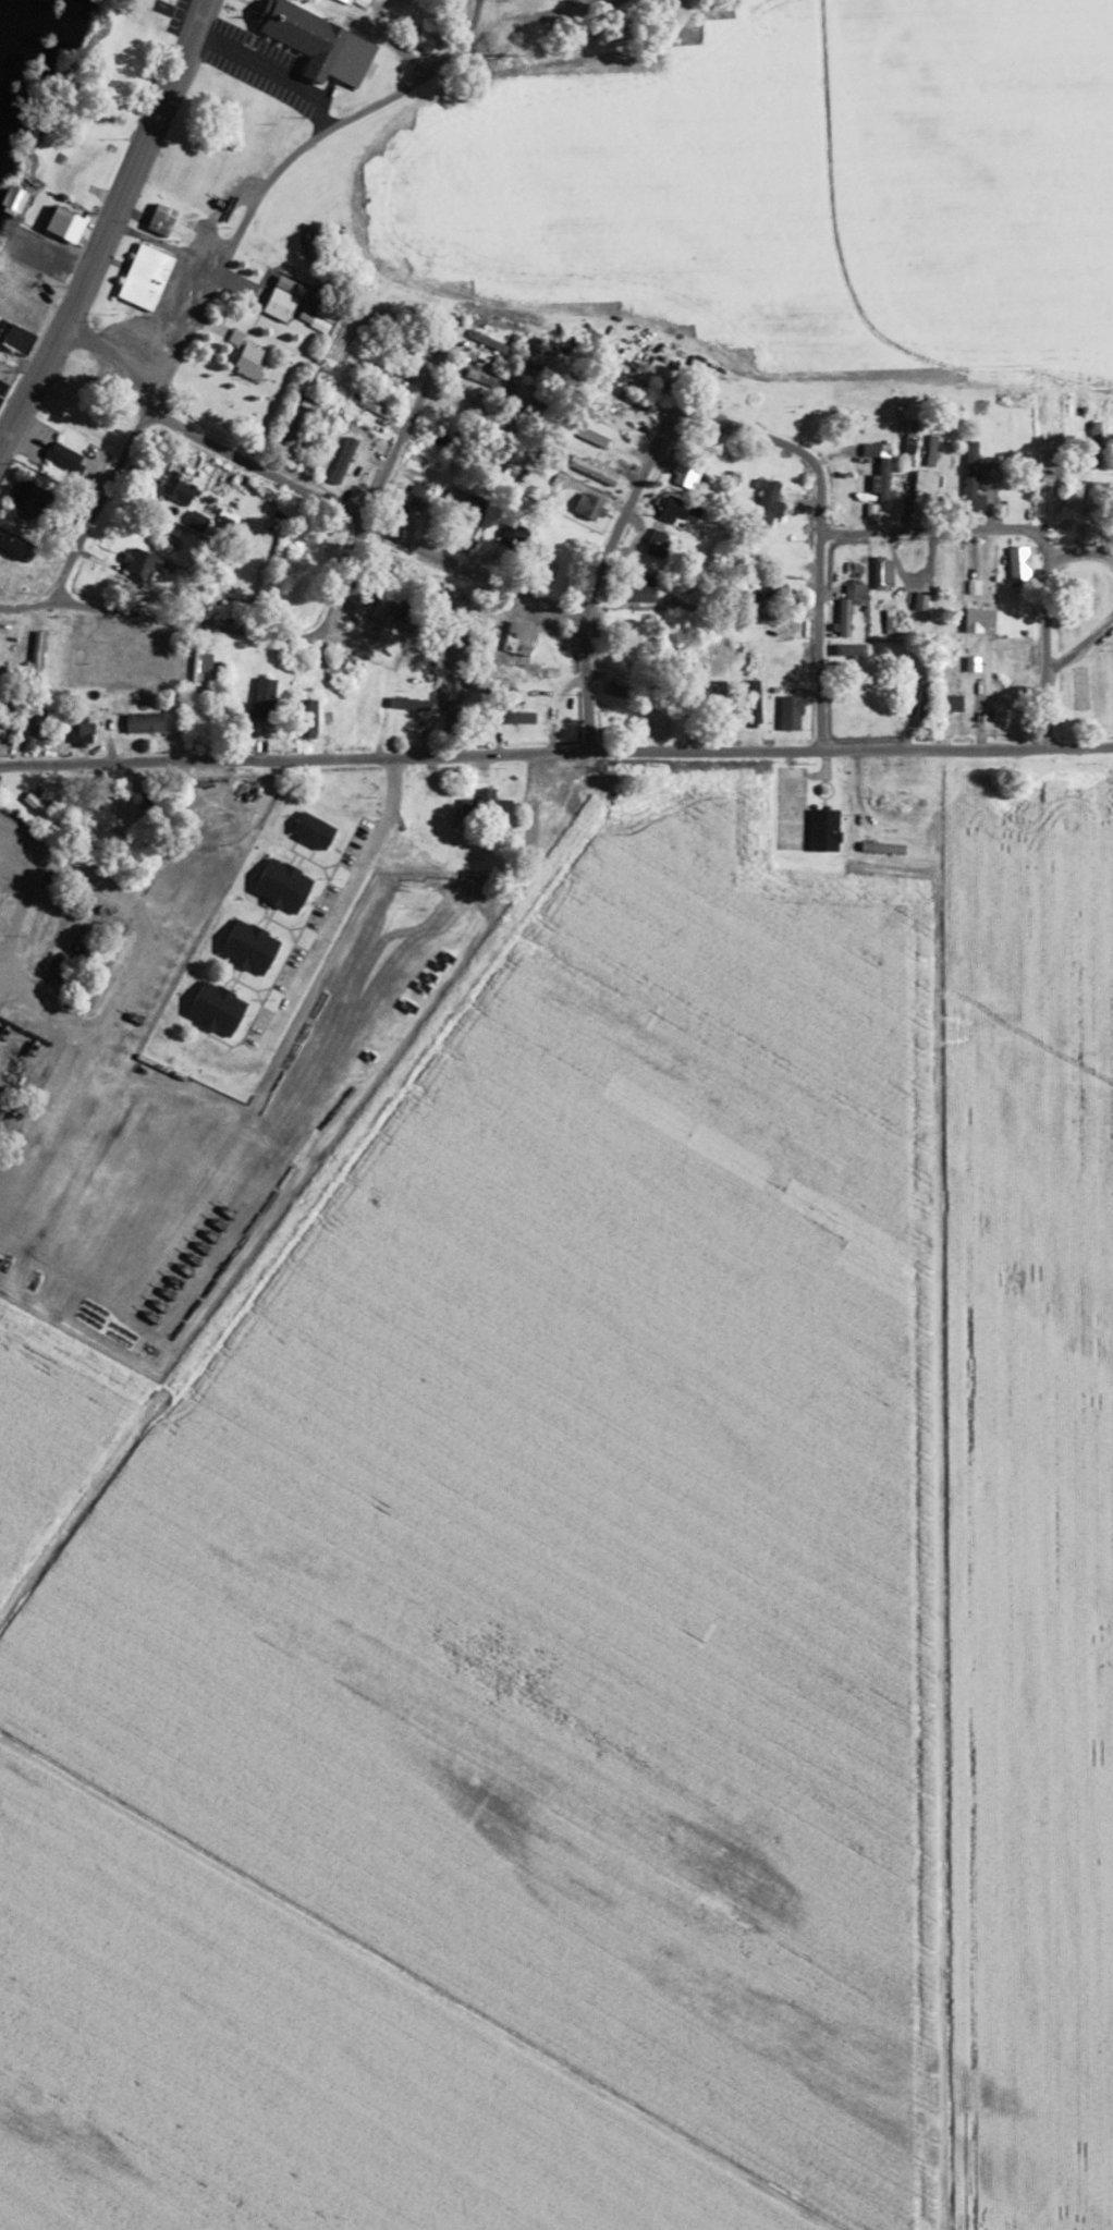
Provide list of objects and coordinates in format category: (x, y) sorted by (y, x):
road: (553, 15)
road: (498, 19)
road: (395, 34)
building: (310, 44)
building: (78, 168)
road: (279, 170)
building: (10, 202)
building: (156, 219)
road: (107, 221)
building: (56, 223)
building: (139, 277)
building: (273, 304)
building: (317, 320)
building: (491, 348)
building: (395, 350)
building: (246, 362)
building: (629, 378)
building: (227, 409)
road: (762, 440)
building: (54, 460)
building: (597, 473)
road: (387, 477)
building: (878, 486)
building: (174, 489)
building: (919, 490)
building: (21, 496)
building: (969, 496)
road: (313, 497)
building: (1008, 498)
road: (96, 501)
building: (761, 501)
building: (582, 504)
building: (666, 510)
building: (466, 519)
building: (191, 521)
road: (1039, 531)
building: (657, 541)
building: (770, 552)
building: (1015, 563)
building: (879, 573)
road: (603, 589)
building: (632, 590)
building: (356, 611)
road: (163, 616)
building: (840, 617)
road: (823, 639)
building: (33, 656)
building: (89, 662)
building: (195, 663)
building: (136, 666)
building: (402, 671)
building: (229, 679)
building: (537, 679)
building: (612, 691)
building: (259, 694)
road: (328, 698)
building: (915, 698)
building: (715, 700)
building: (947, 702)
building: (406, 707)
building: (371, 710)
building: (785, 712)
building: (302, 717)
building: (138, 722)
building: (77, 729)
building: (28, 730)
road: (555, 754)
building: (550, 797)
building: (895, 800)
building: (481, 807)
building: (39, 812)
building: (307, 830)
building: (820, 830)
building: (878, 848)
road: (87, 868)
building: (276, 885)
road: (152, 947)
building: (243, 947)
building: (210, 1008)
road: (926, 1489)

